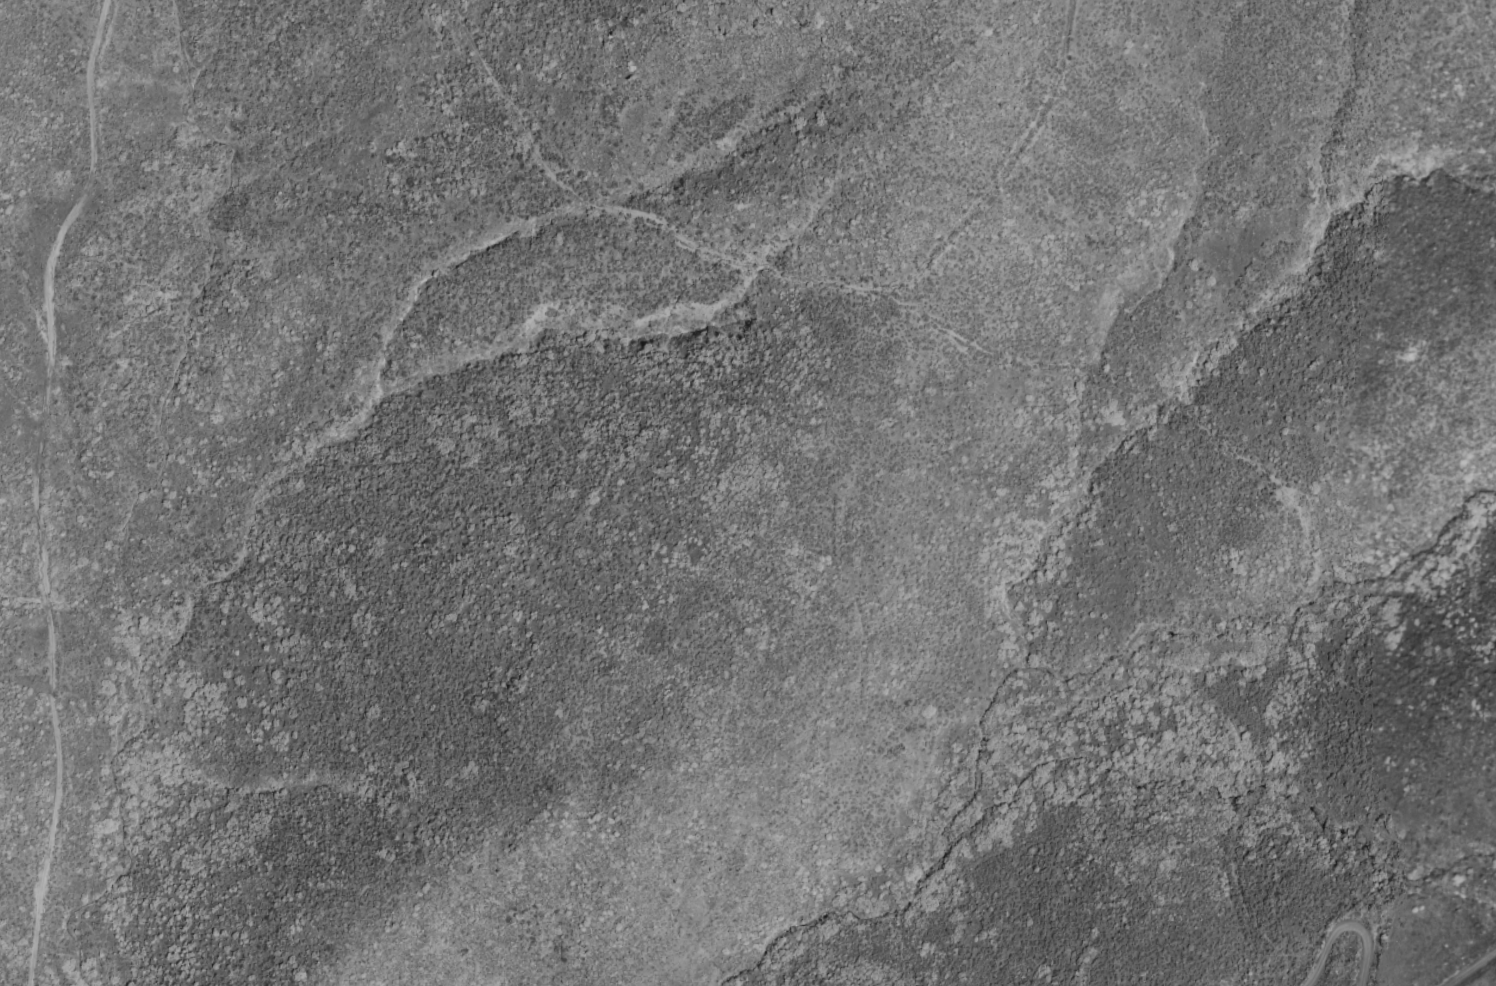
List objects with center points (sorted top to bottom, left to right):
road: (1338, 922)
road: (1466, 962)

